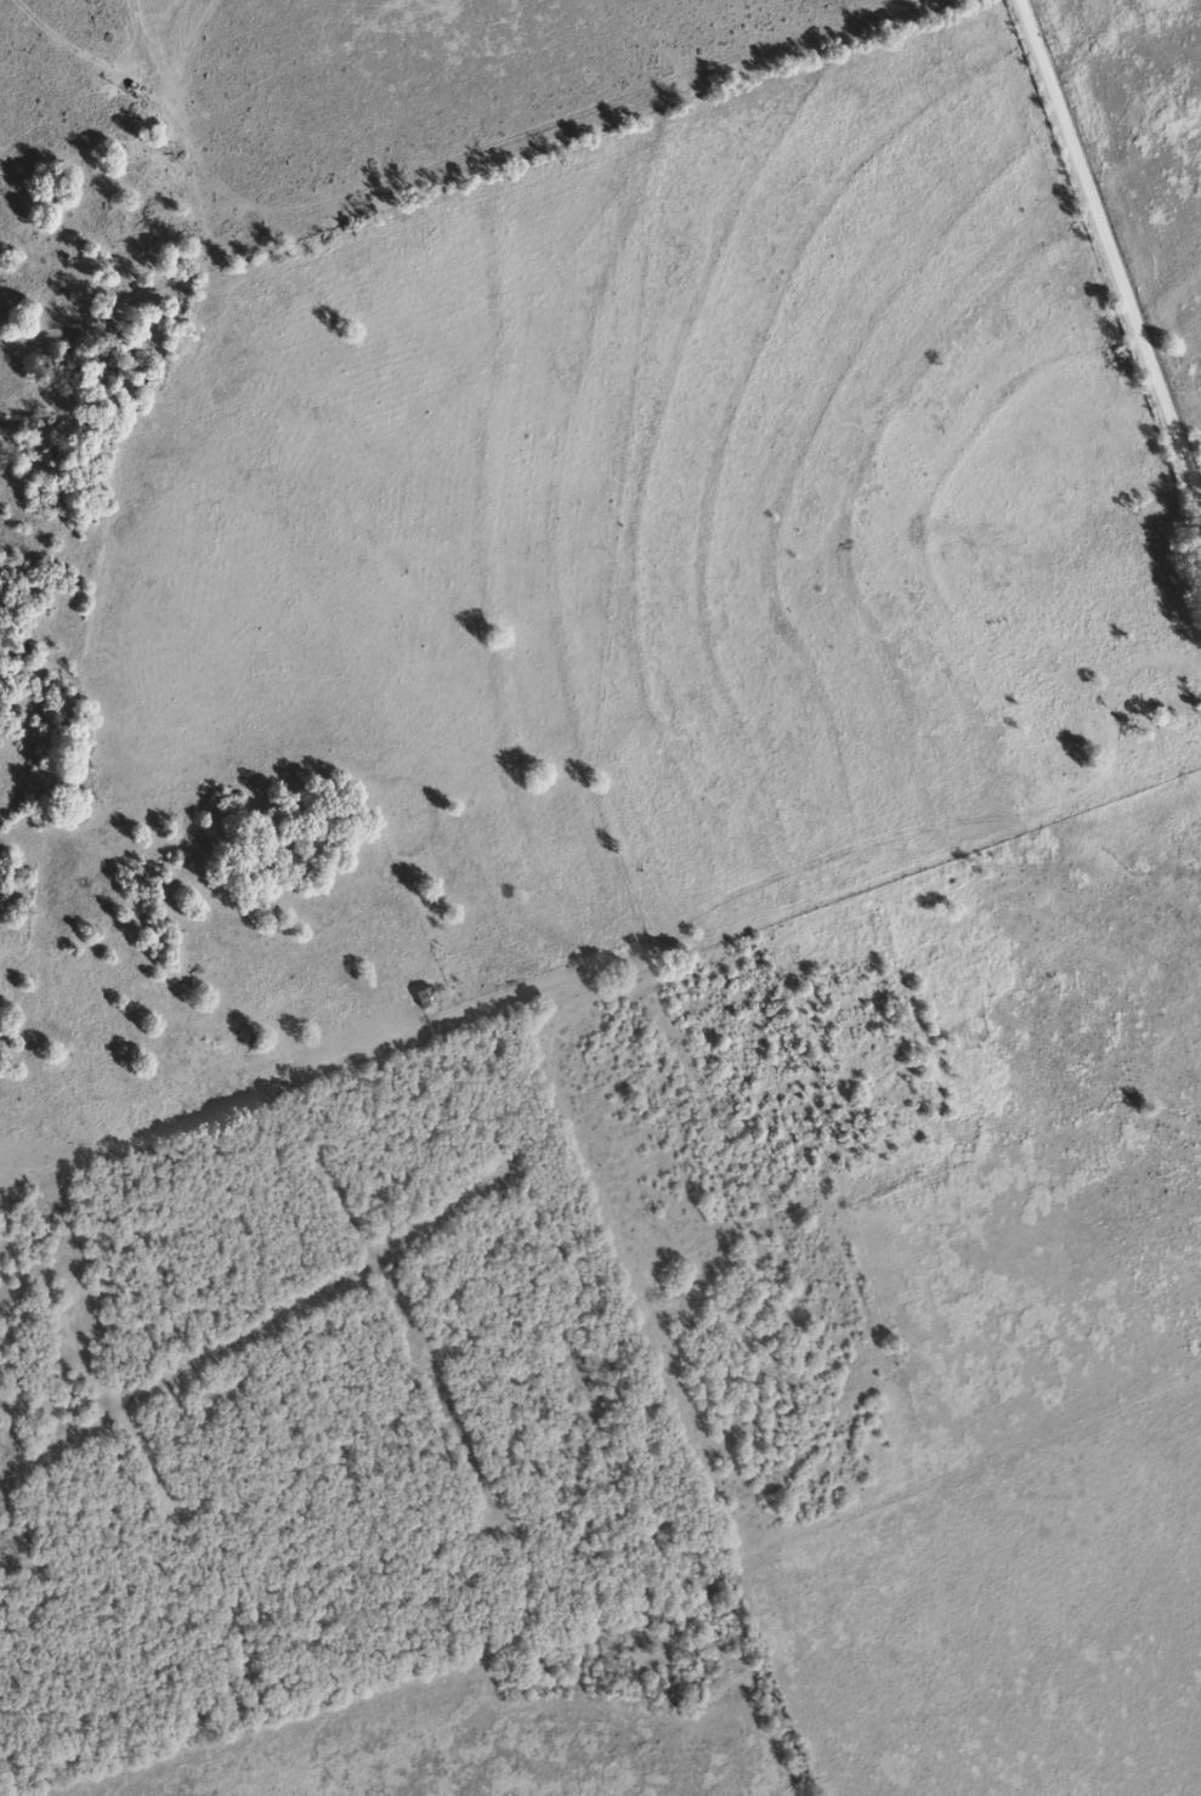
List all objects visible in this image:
road: (1110, 255)

